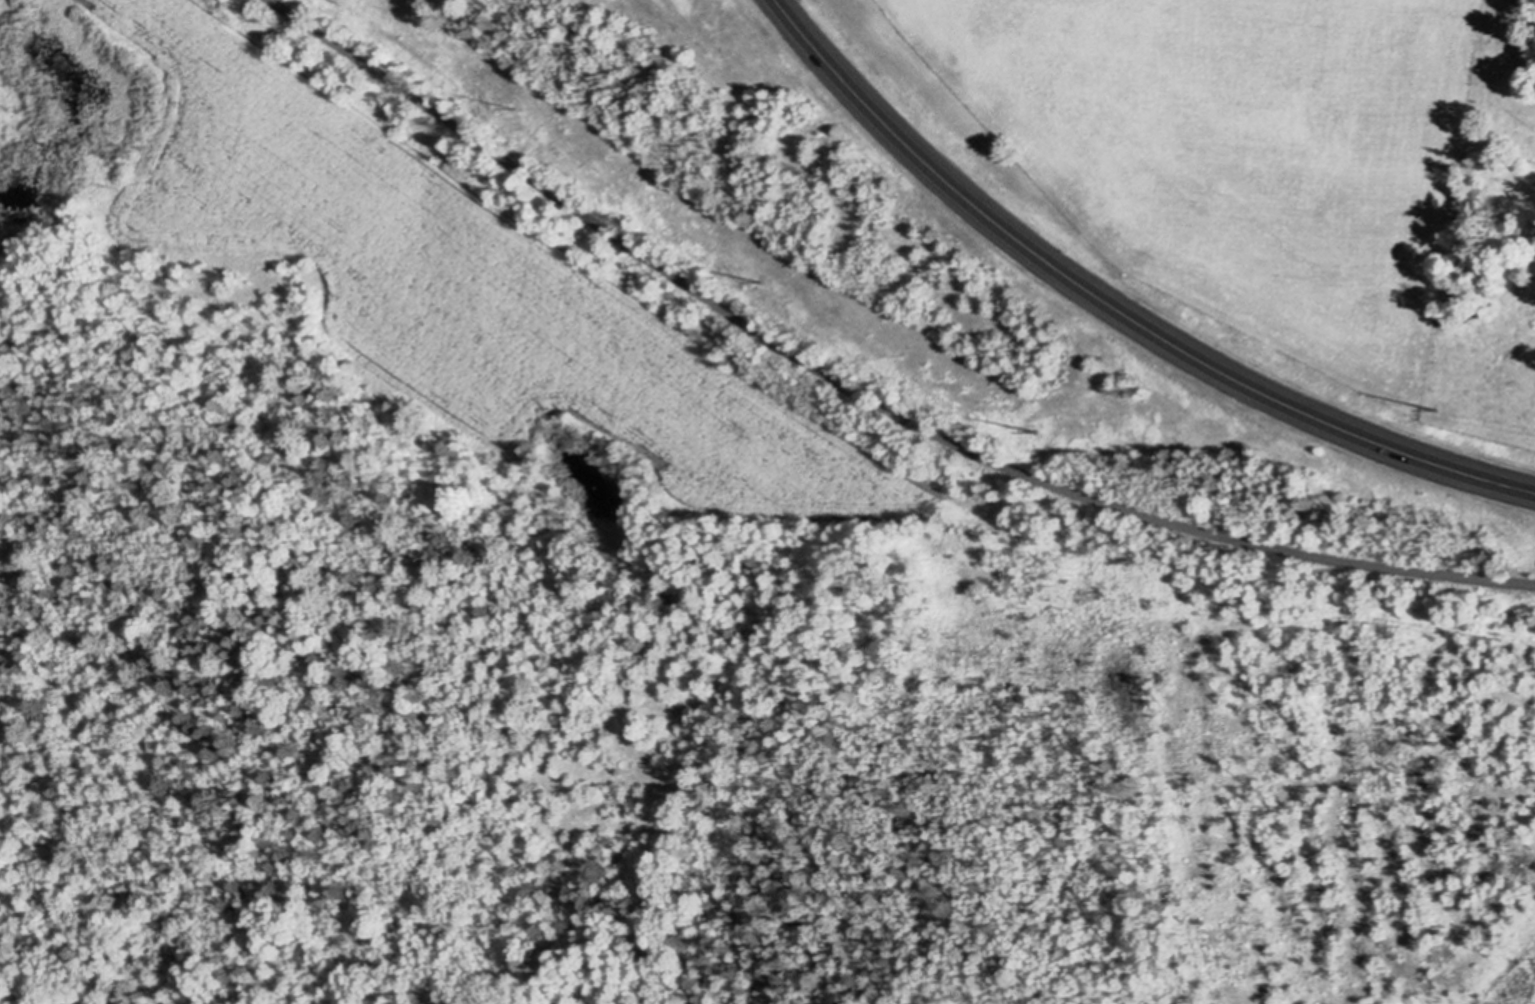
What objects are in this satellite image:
power tower: (514, 105)
power tower: (761, 278)
road: (1117, 305)
road: (861, 392)
power tower: (1436, 404)
power tower: (1033, 428)

